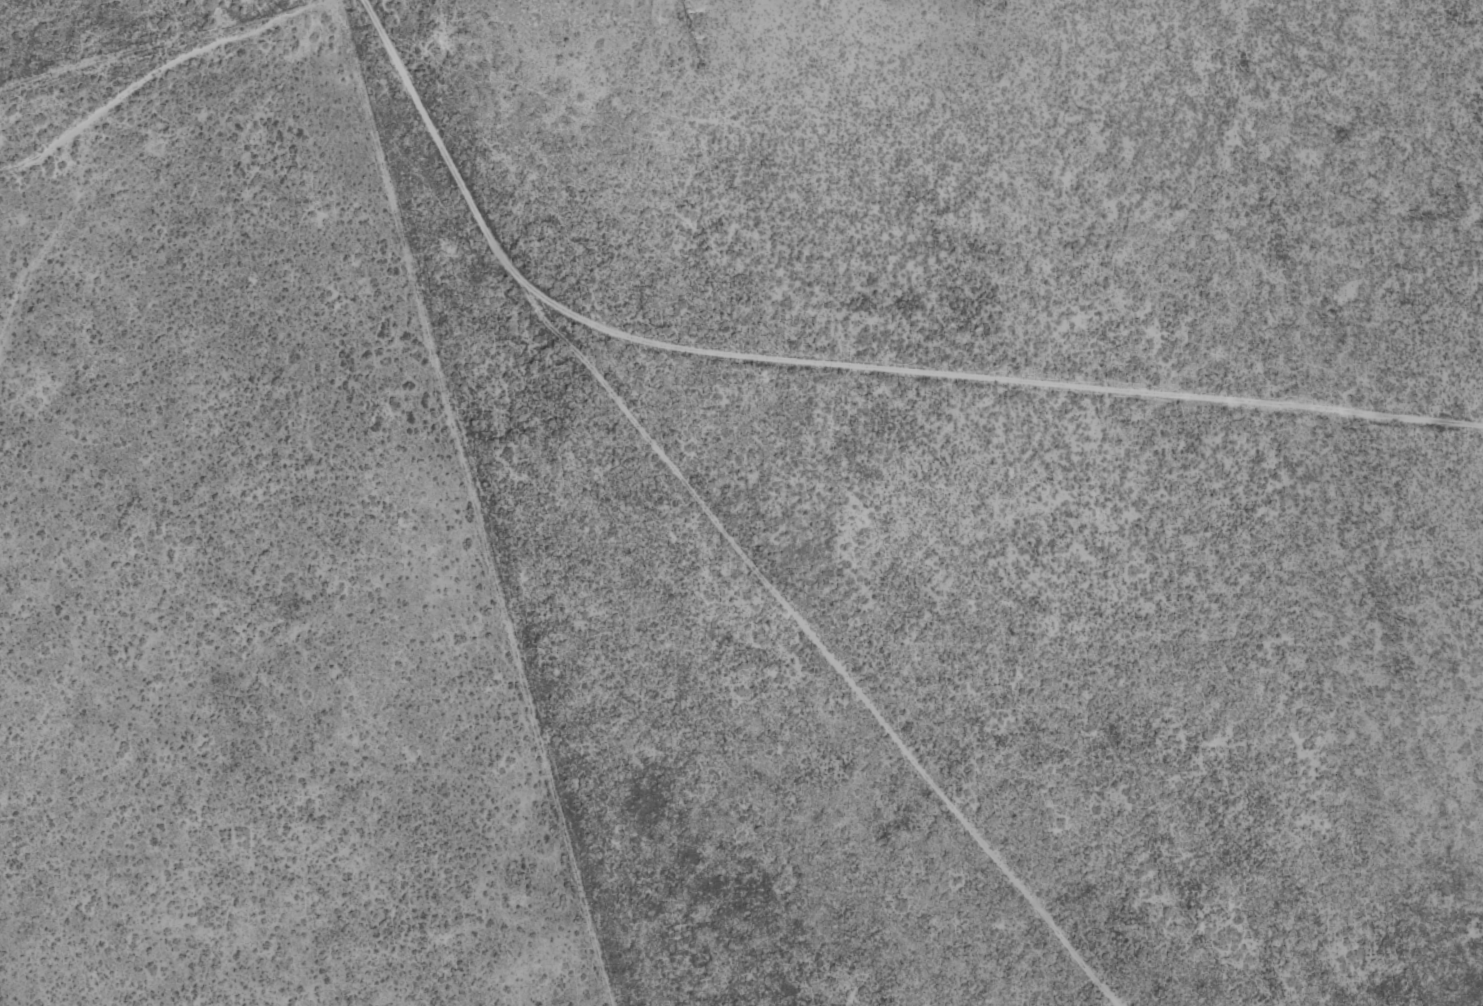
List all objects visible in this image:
road: (800, 468)

